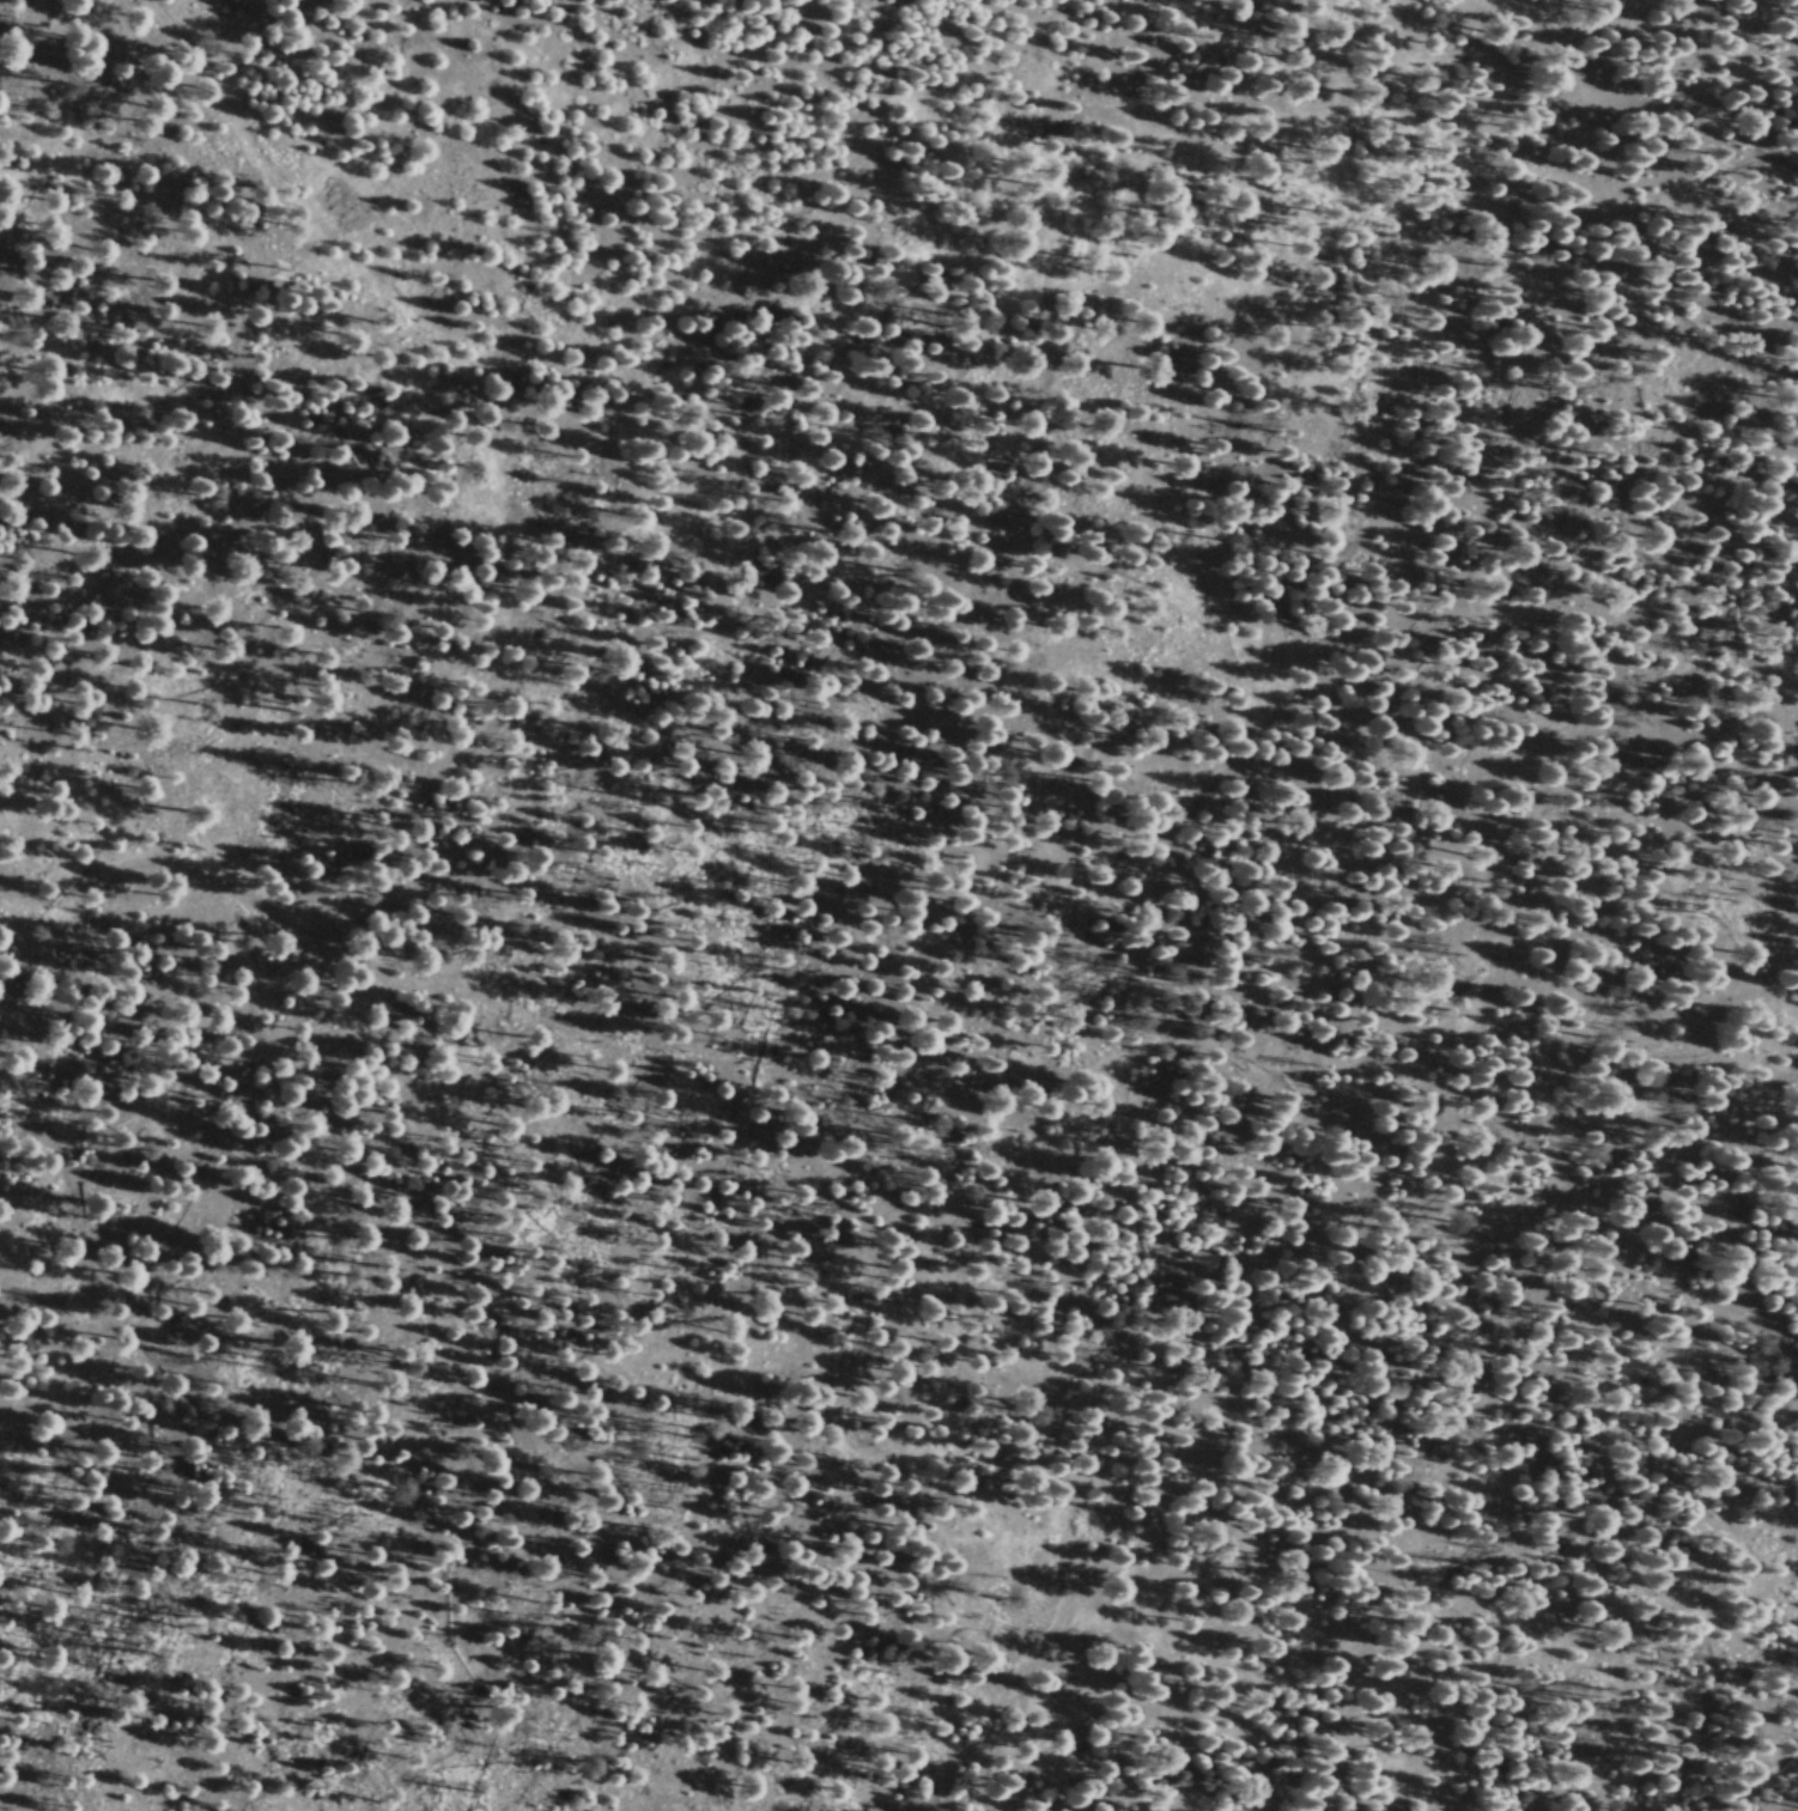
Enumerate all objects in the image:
road: (591, 797)
road: (935, 1287)

